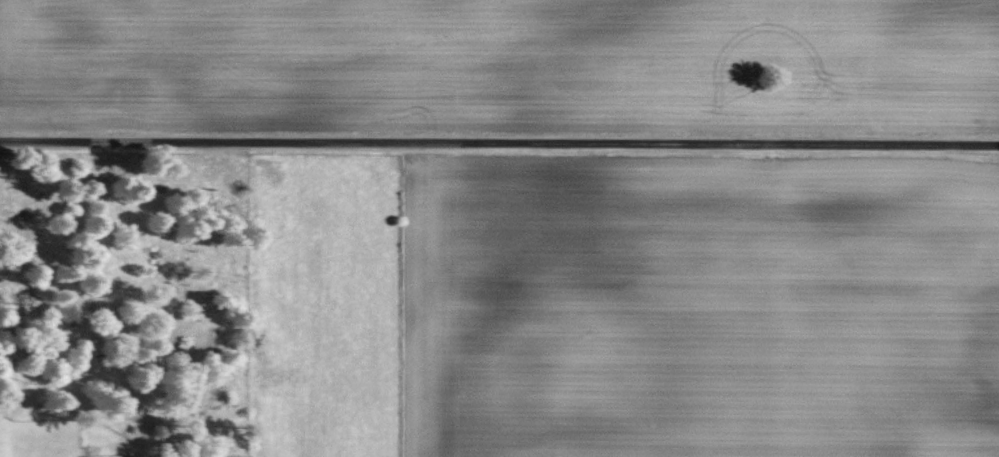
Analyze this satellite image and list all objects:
road: (499, 140)
building: (104, 456)

